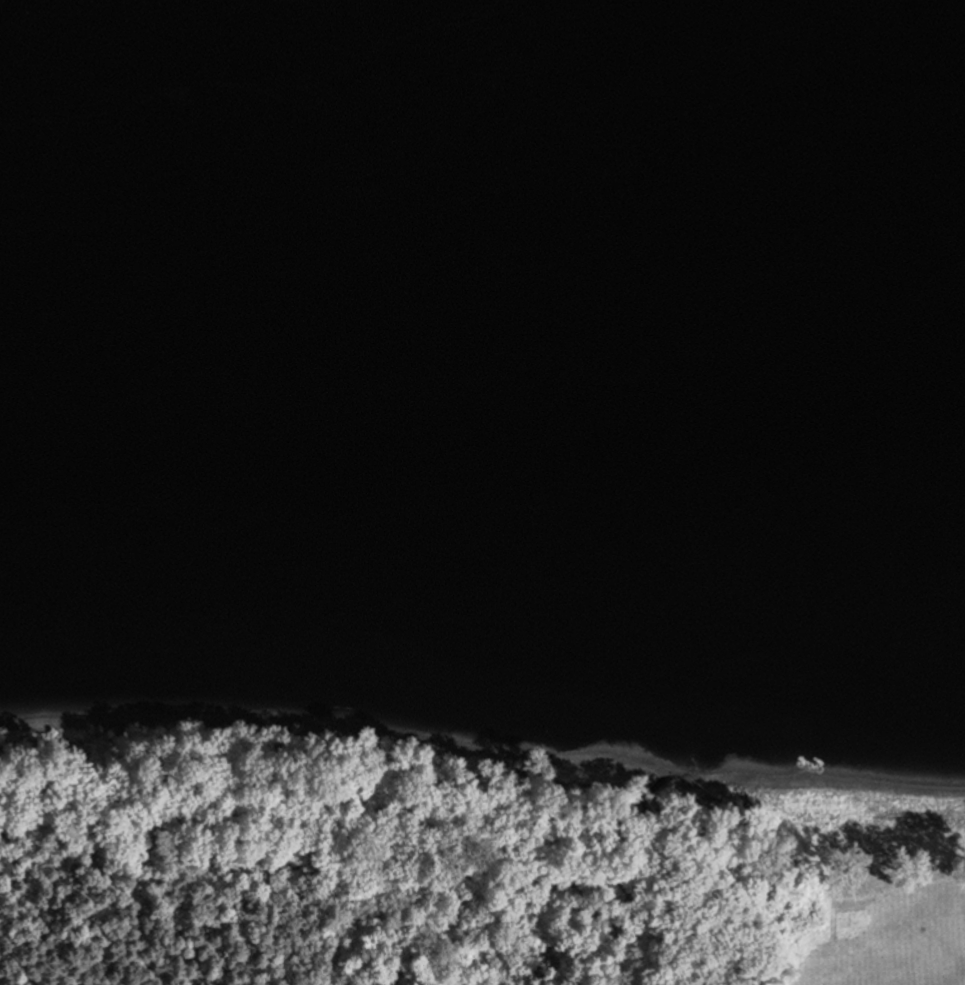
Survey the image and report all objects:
building: (471, 12)
park: (816, 887)

